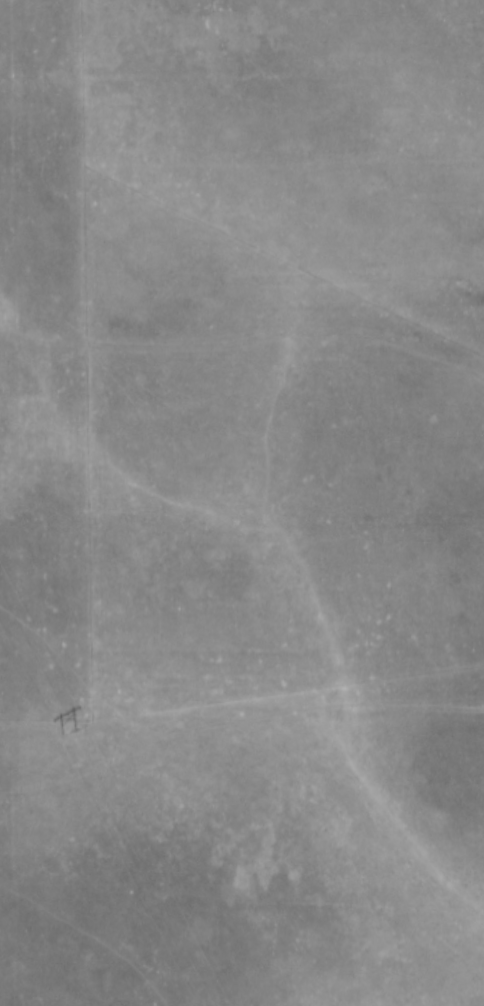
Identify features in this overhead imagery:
power tower: (65, 732)

